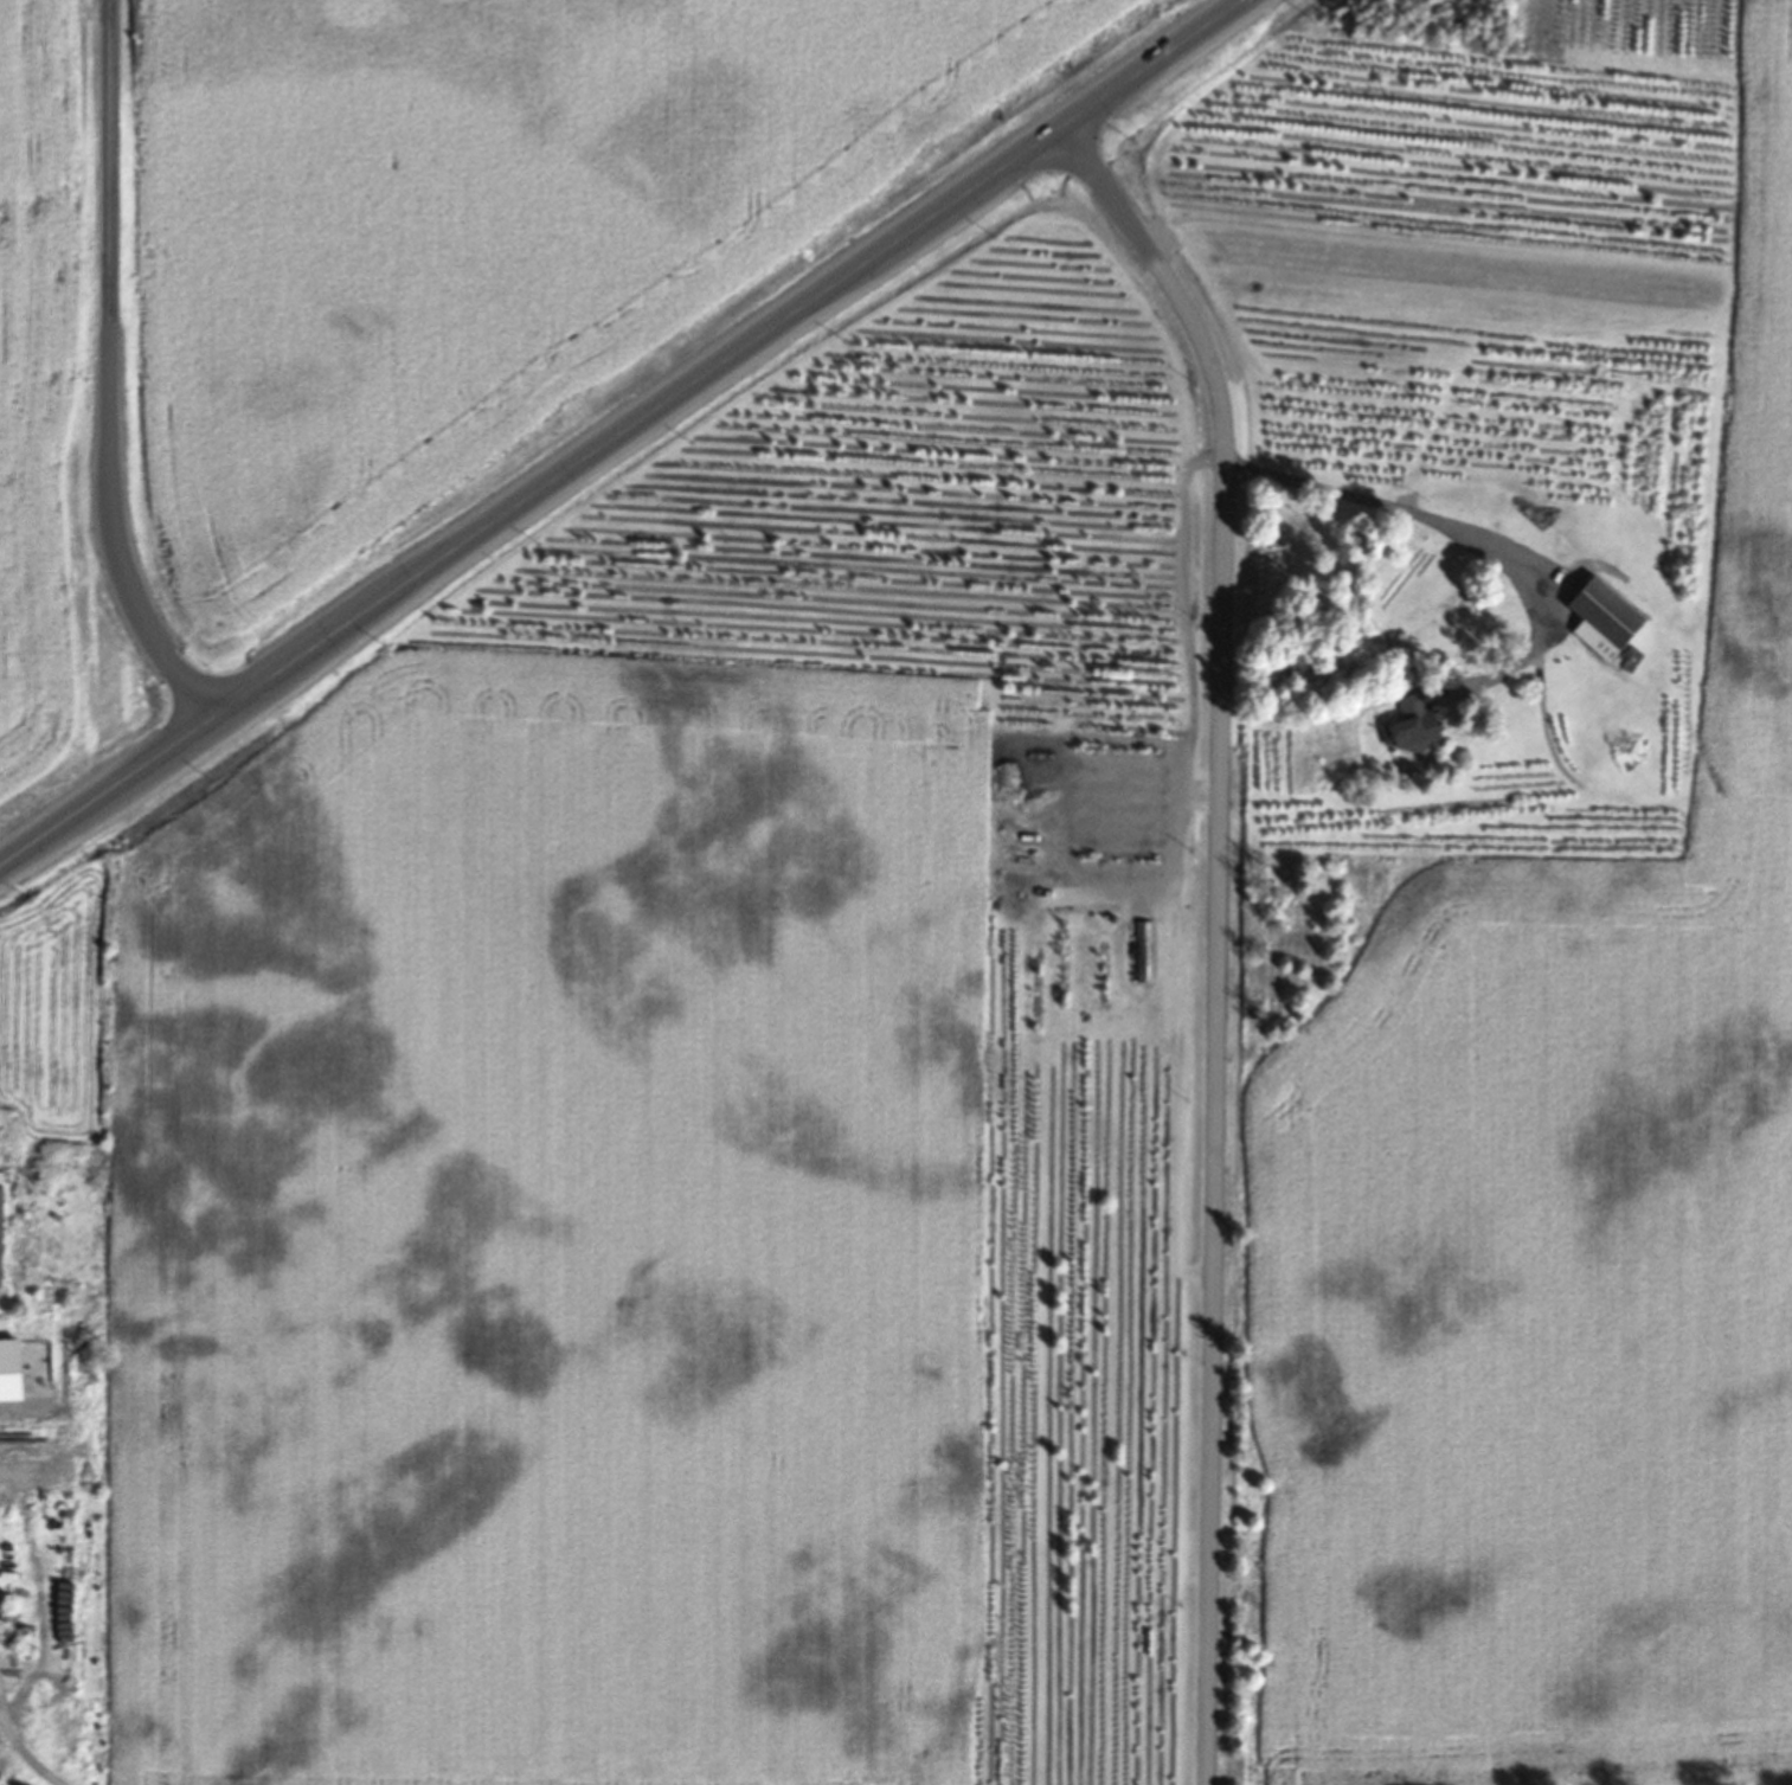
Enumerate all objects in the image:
road: (113, 393)
road: (623, 431)
road: (1458, 532)
building: (1601, 622)
building: (1412, 728)
road: (1222, 932)
building: (0, 1241)
building: (9, 1373)

